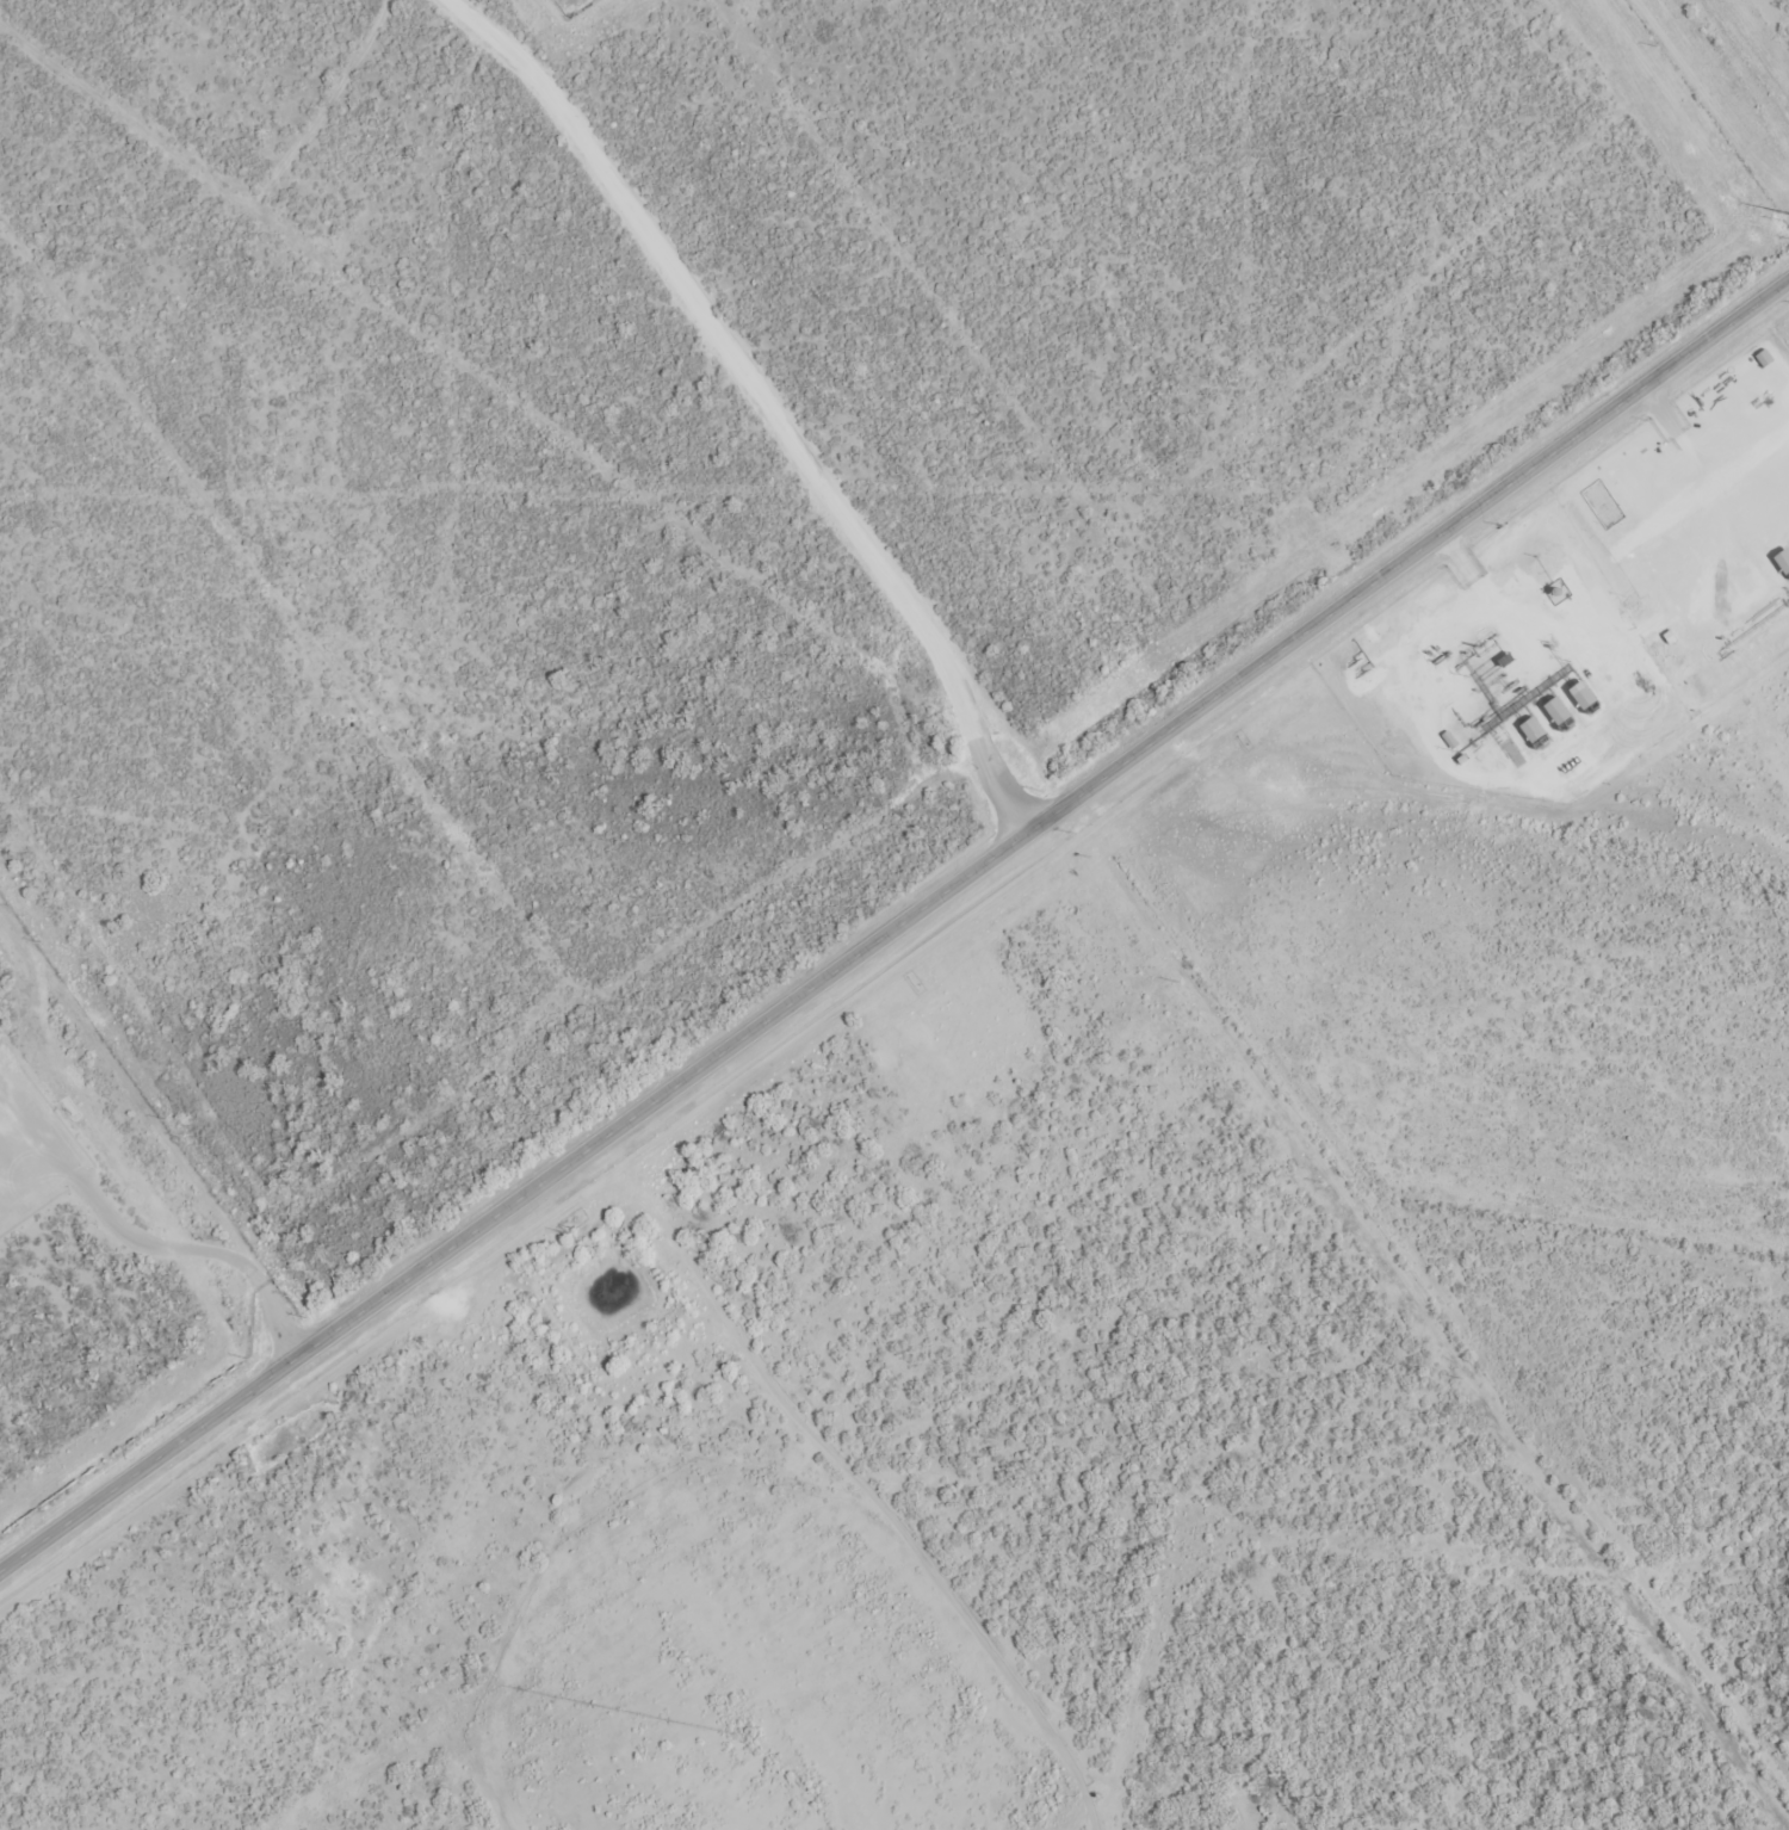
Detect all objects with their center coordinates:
road: (1146, 905)
road: (895, 936)

